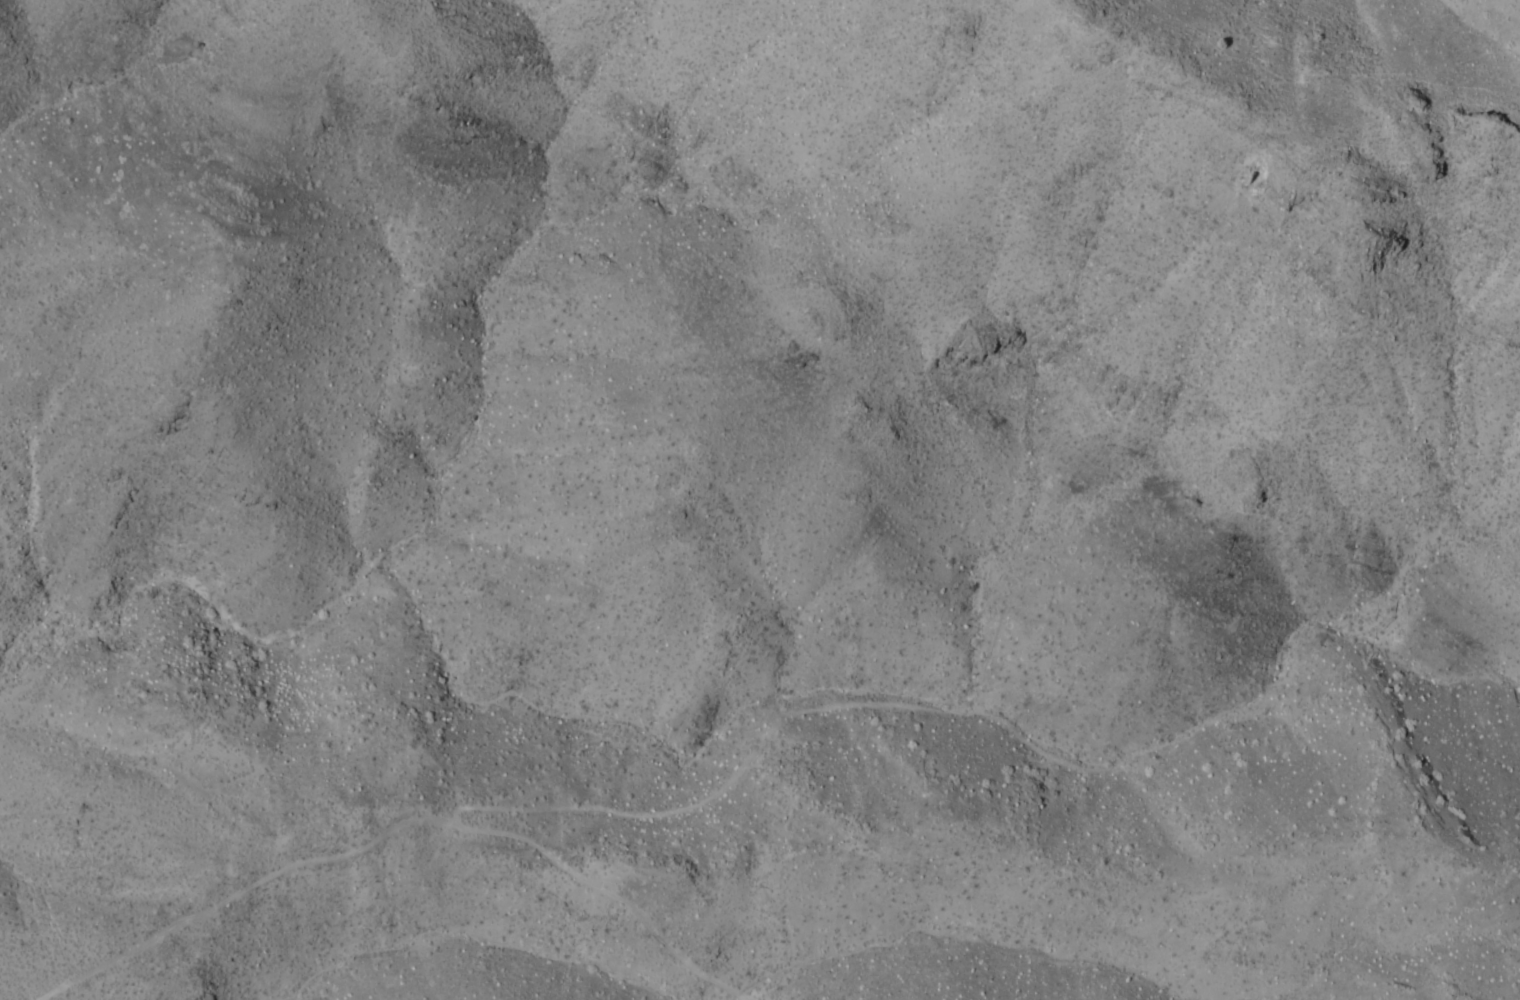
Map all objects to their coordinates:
road: (401, 828)

